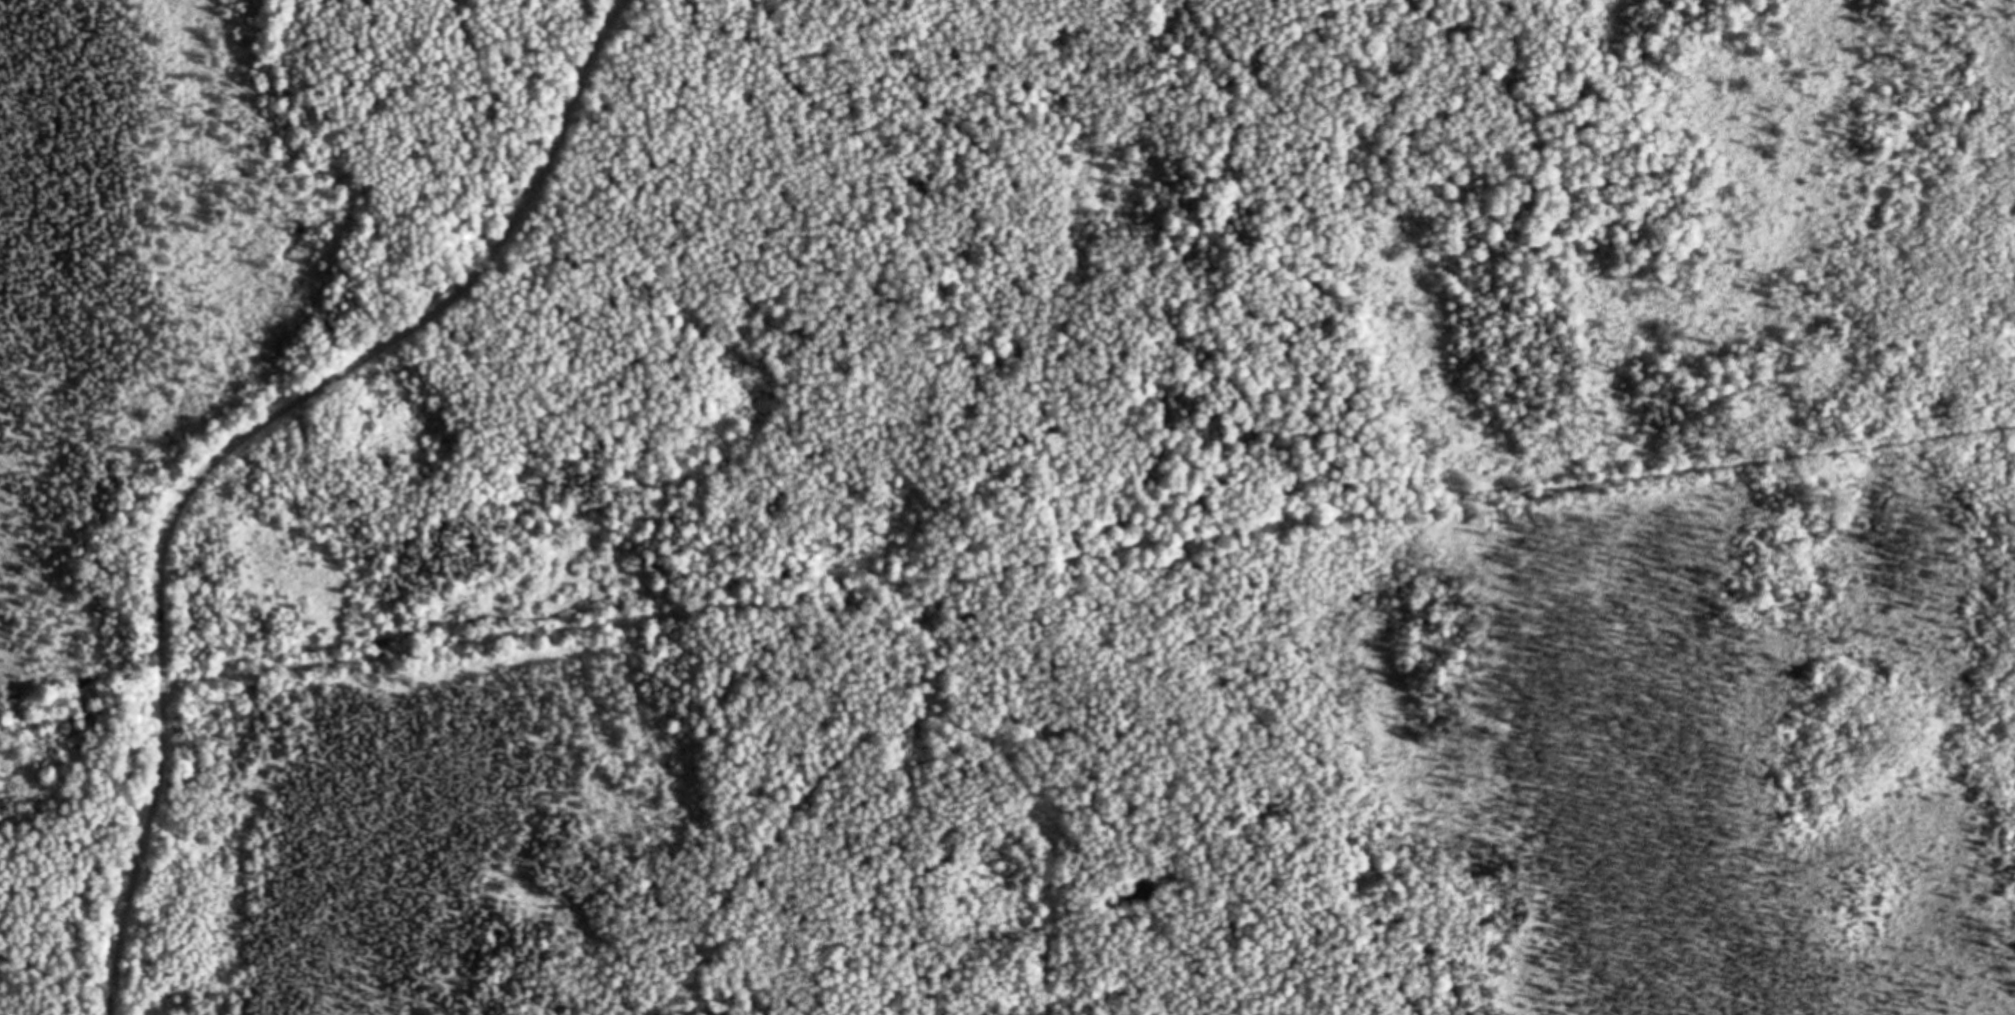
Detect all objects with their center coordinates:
road: (237, 442)

